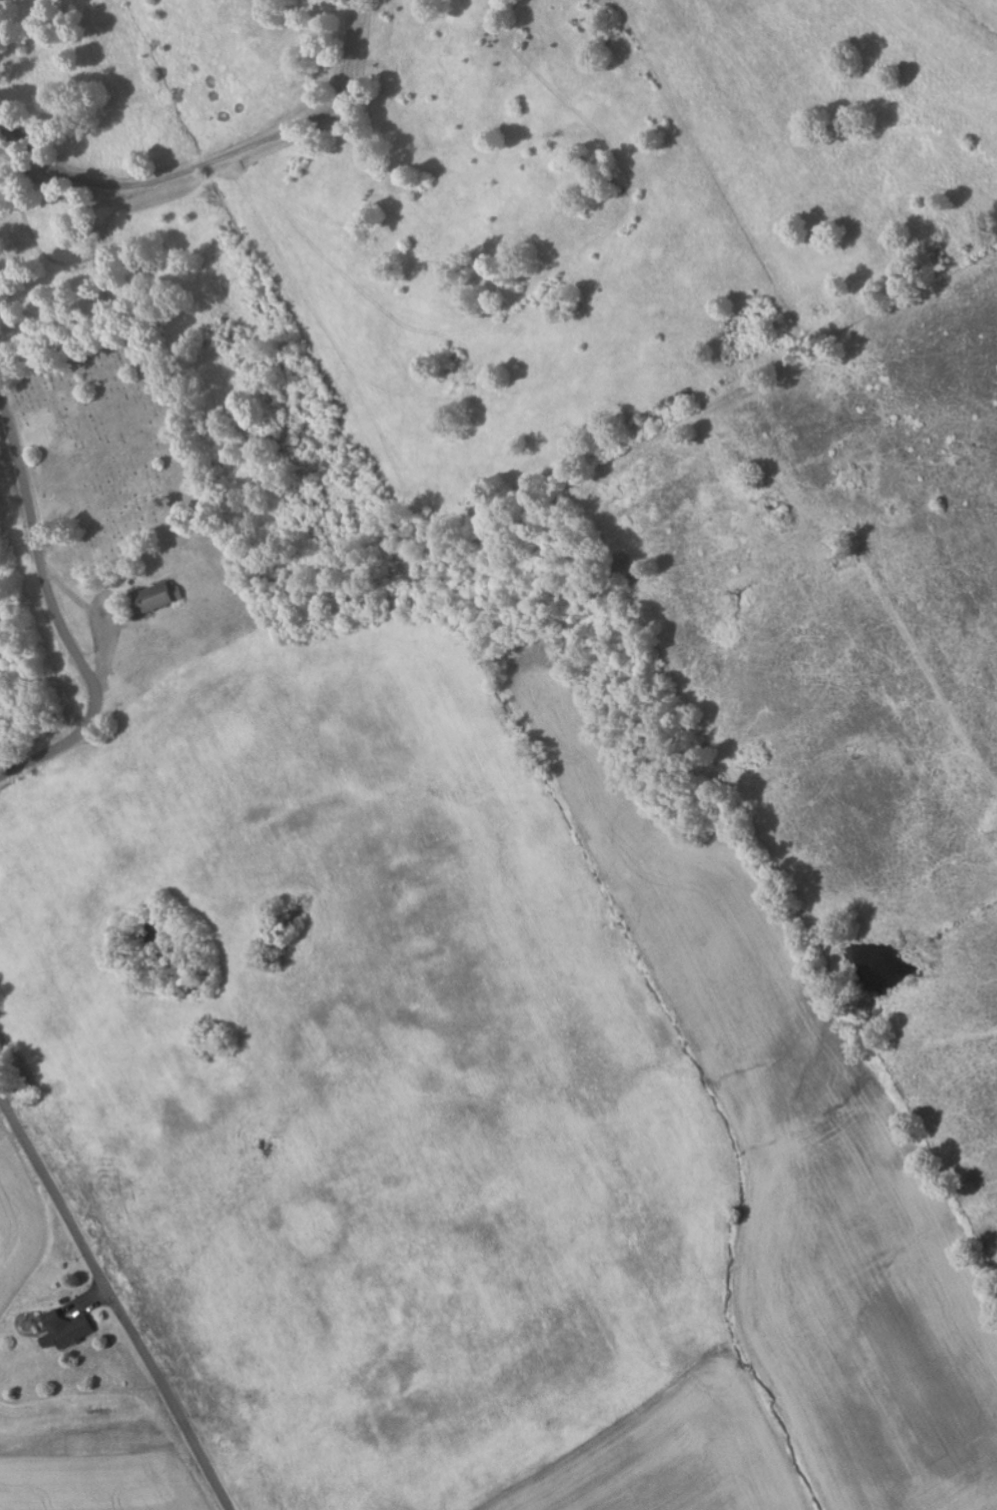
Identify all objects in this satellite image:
road: (214, 160)
park: (105, 460)
building: (161, 597)
road: (56, 616)
road: (114, 1304)
building: (70, 1329)
building: (50, 1341)
road: (345, 1408)

